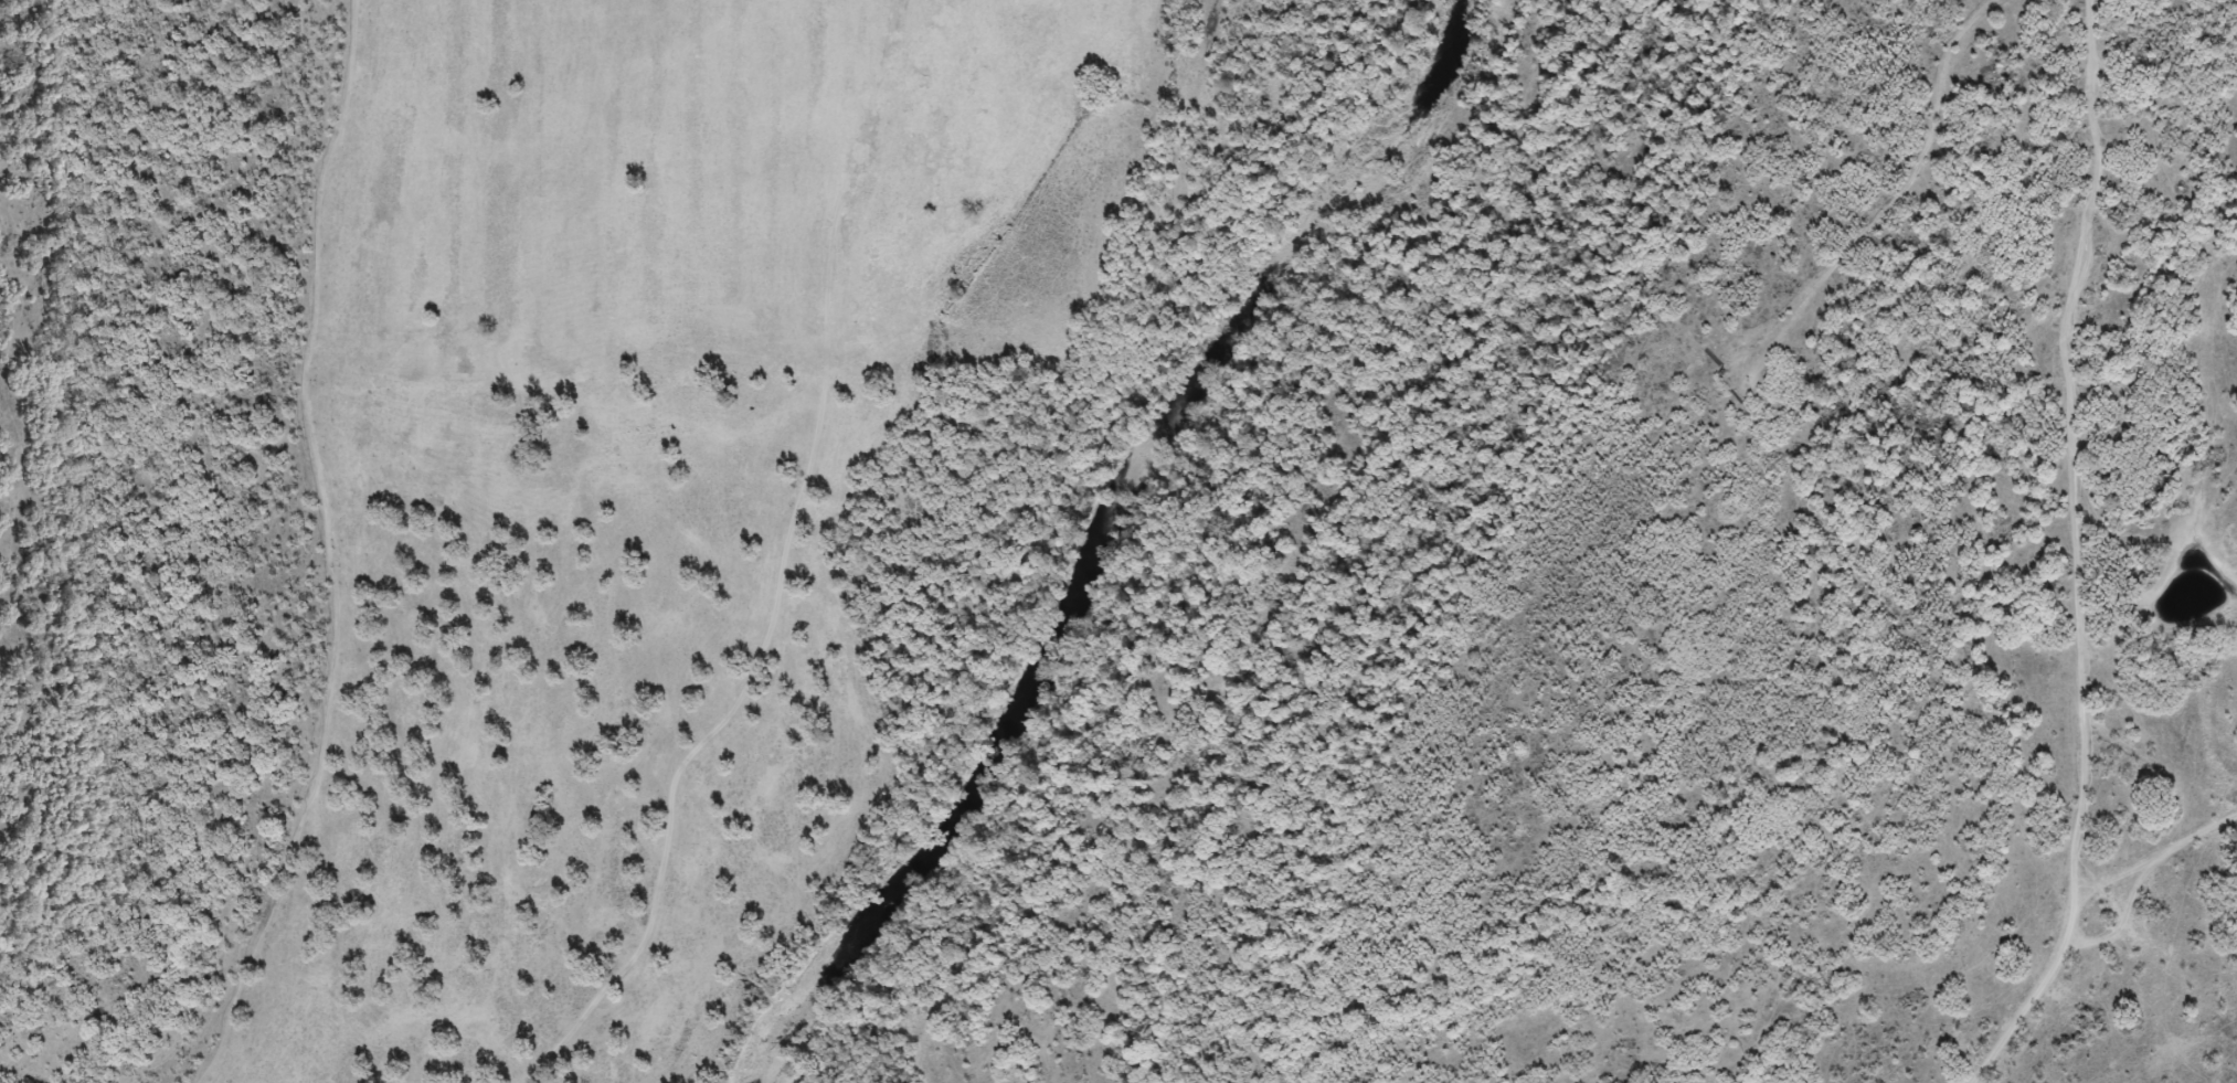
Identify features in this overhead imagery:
road: (2105, 454)

